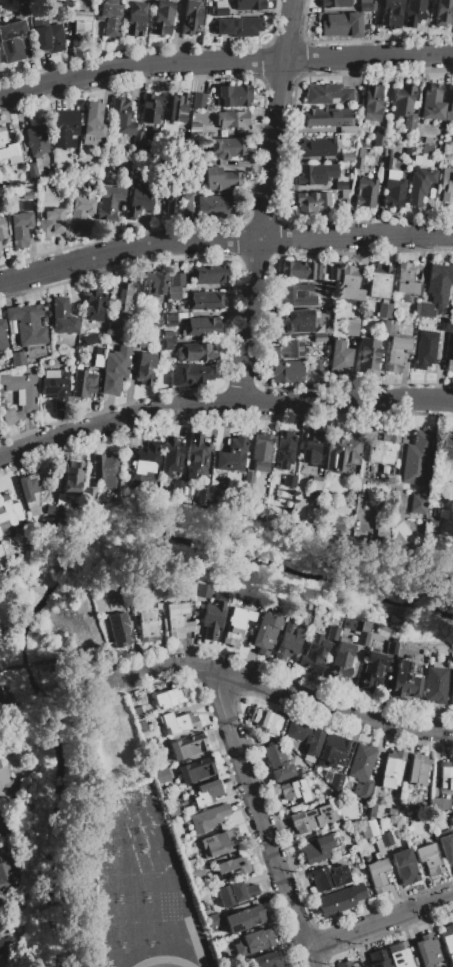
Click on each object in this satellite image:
building: (335, 3)
building: (249, 4)
building: (366, 6)
building: (220, 8)
building: (209, 10)
building: (414, 12)
building: (444, 12)
building: (24, 13)
building: (390, 13)
building: (191, 16)
building: (162, 17)
building: (110, 19)
building: (135, 19)
building: (81, 24)
building: (342, 24)
building: (239, 26)
building: (49, 38)
building: (12, 41)
road: (224, 61)
building: (328, 93)
building: (233, 95)
building: (198, 100)
building: (432, 102)
building: (451, 102)
building: (372, 103)
building: (405, 105)
building: (177, 107)
building: (151, 108)
building: (326, 116)
building: (121, 117)
building: (231, 119)
building: (94, 124)
building: (65, 128)
building: (194, 129)
building: (348, 129)
building: (36, 137)
building: (137, 137)
building: (379, 138)
building: (427, 140)
building: (317, 147)
building: (226, 148)
building: (8, 149)
building: (428, 150)
building: (408, 151)
building: (358, 155)
building: (347, 156)
building: (386, 162)
building: (32, 171)
building: (317, 174)
building: (215, 178)
building: (420, 184)
building: (341, 185)
building: (447, 185)
building: (4, 186)
building: (170, 191)
building: (366, 192)
building: (394, 192)
building: (344, 193)
building: (26, 196)
building: (138, 198)
road: (263, 200)
building: (311, 201)
building: (109, 203)
building: (184, 203)
building: (26, 206)
building: (217, 206)
building: (80, 213)
building: (50, 223)
building: (2, 228)
building: (20, 229)
road: (223, 240)
building: (0, 250)
building: (300, 270)
building: (333, 272)
building: (209, 274)
building: (177, 279)
building: (407, 279)
building: (379, 281)
building: (440, 282)
building: (350, 283)
building: (153, 284)
building: (174, 293)
building: (296, 295)
building: (123, 296)
building: (205, 300)
building: (452, 303)
building: (94, 304)
building: (384, 310)
building: (424, 310)
building: (62, 317)
building: (170, 318)
building: (298, 321)
building: (425, 321)
building: (444, 324)
building: (383, 325)
building: (202, 326)
building: (352, 327)
building: (29, 329)
building: (114, 329)
building: (2, 334)
building: (451, 336)
building: (319, 338)
building: (139, 339)
building: (167, 343)
building: (396, 348)
building: (289, 349)
building: (425, 349)
building: (195, 352)
building: (339, 355)
building: (367, 355)
building: (17, 358)
building: (98, 361)
building: (317, 365)
building: (449, 365)
building: (145, 368)
building: (115, 370)
building: (287, 371)
building: (190, 375)
building: (82, 382)
building: (55, 387)
building: (19, 396)
road: (222, 402)
building: (311, 445)
building: (446, 447)
building: (284, 449)
building: (383, 450)
building: (343, 452)
building: (231, 455)
building: (171, 456)
building: (258, 456)
building: (197, 457)
building: (418, 458)
building: (142, 463)
building: (104, 469)
building: (72, 478)
building: (289, 480)
building: (177, 487)
building: (314, 487)
building: (29, 489)
building: (88, 491)
building: (202, 494)
building: (59, 499)
building: (418, 504)
building: (8, 514)
building: (1, 551)
building: (191, 589)
building: (202, 590)
building: (157, 595)
building: (2, 602)
building: (157, 604)
building: (213, 616)
building: (396, 619)
building: (177, 620)
building: (350, 623)
building: (236, 625)
building: (147, 626)
building: (118, 628)
building: (382, 630)
building: (265, 632)
building: (332, 633)
building: (363, 633)
building: (287, 641)
building: (390, 648)
building: (313, 653)
road: (47, 660)
building: (340, 663)
building: (373, 672)
road: (96, 674)
building: (405, 681)
building: (435, 682)
building: (451, 685)
road: (275, 686)
building: (1, 695)
building: (133, 697)
building: (169, 698)
building: (3, 702)
building: (137, 712)
building: (265, 720)
building: (178, 722)
building: (142, 726)
building: (305, 737)
building: (188, 746)
building: (153, 748)
building: (332, 750)
building: (277, 762)
building: (153, 765)
building: (301, 768)
building: (361, 769)
building: (391, 769)
building: (418, 769)
building: (190, 771)
building: (161, 774)
building: (446, 775)
building: (333, 778)
building: (6, 784)
building: (294, 789)
building: (164, 790)
building: (207, 792)
building: (377, 792)
building: (333, 800)
building: (440, 803)
building: (171, 806)
building: (374, 810)
building: (413, 810)
building: (416, 817)
building: (208, 818)
building: (311, 818)
road: (260, 819)
building: (450, 820)
building: (383, 824)
road: (1, 826)
building: (367, 828)
building: (386, 838)
building: (219, 843)
building: (446, 847)
building: (379, 848)
building: (315, 849)
building: (429, 859)
building: (405, 866)
building: (195, 868)
building: (231, 868)
building: (6, 873)
park: (132, 873)
building: (377, 875)
building: (329, 877)
building: (234, 893)
building: (340, 899)
building: (1, 910)
building: (244, 918)
road: (378, 920)
building: (215, 923)
building: (448, 940)
track: (194, 941)
building: (254, 942)
building: (2, 946)
building: (427, 950)
building: (400, 954)
building: (377, 958)
building: (267, 960)
track: (163, 962)
building: (344, 963)

